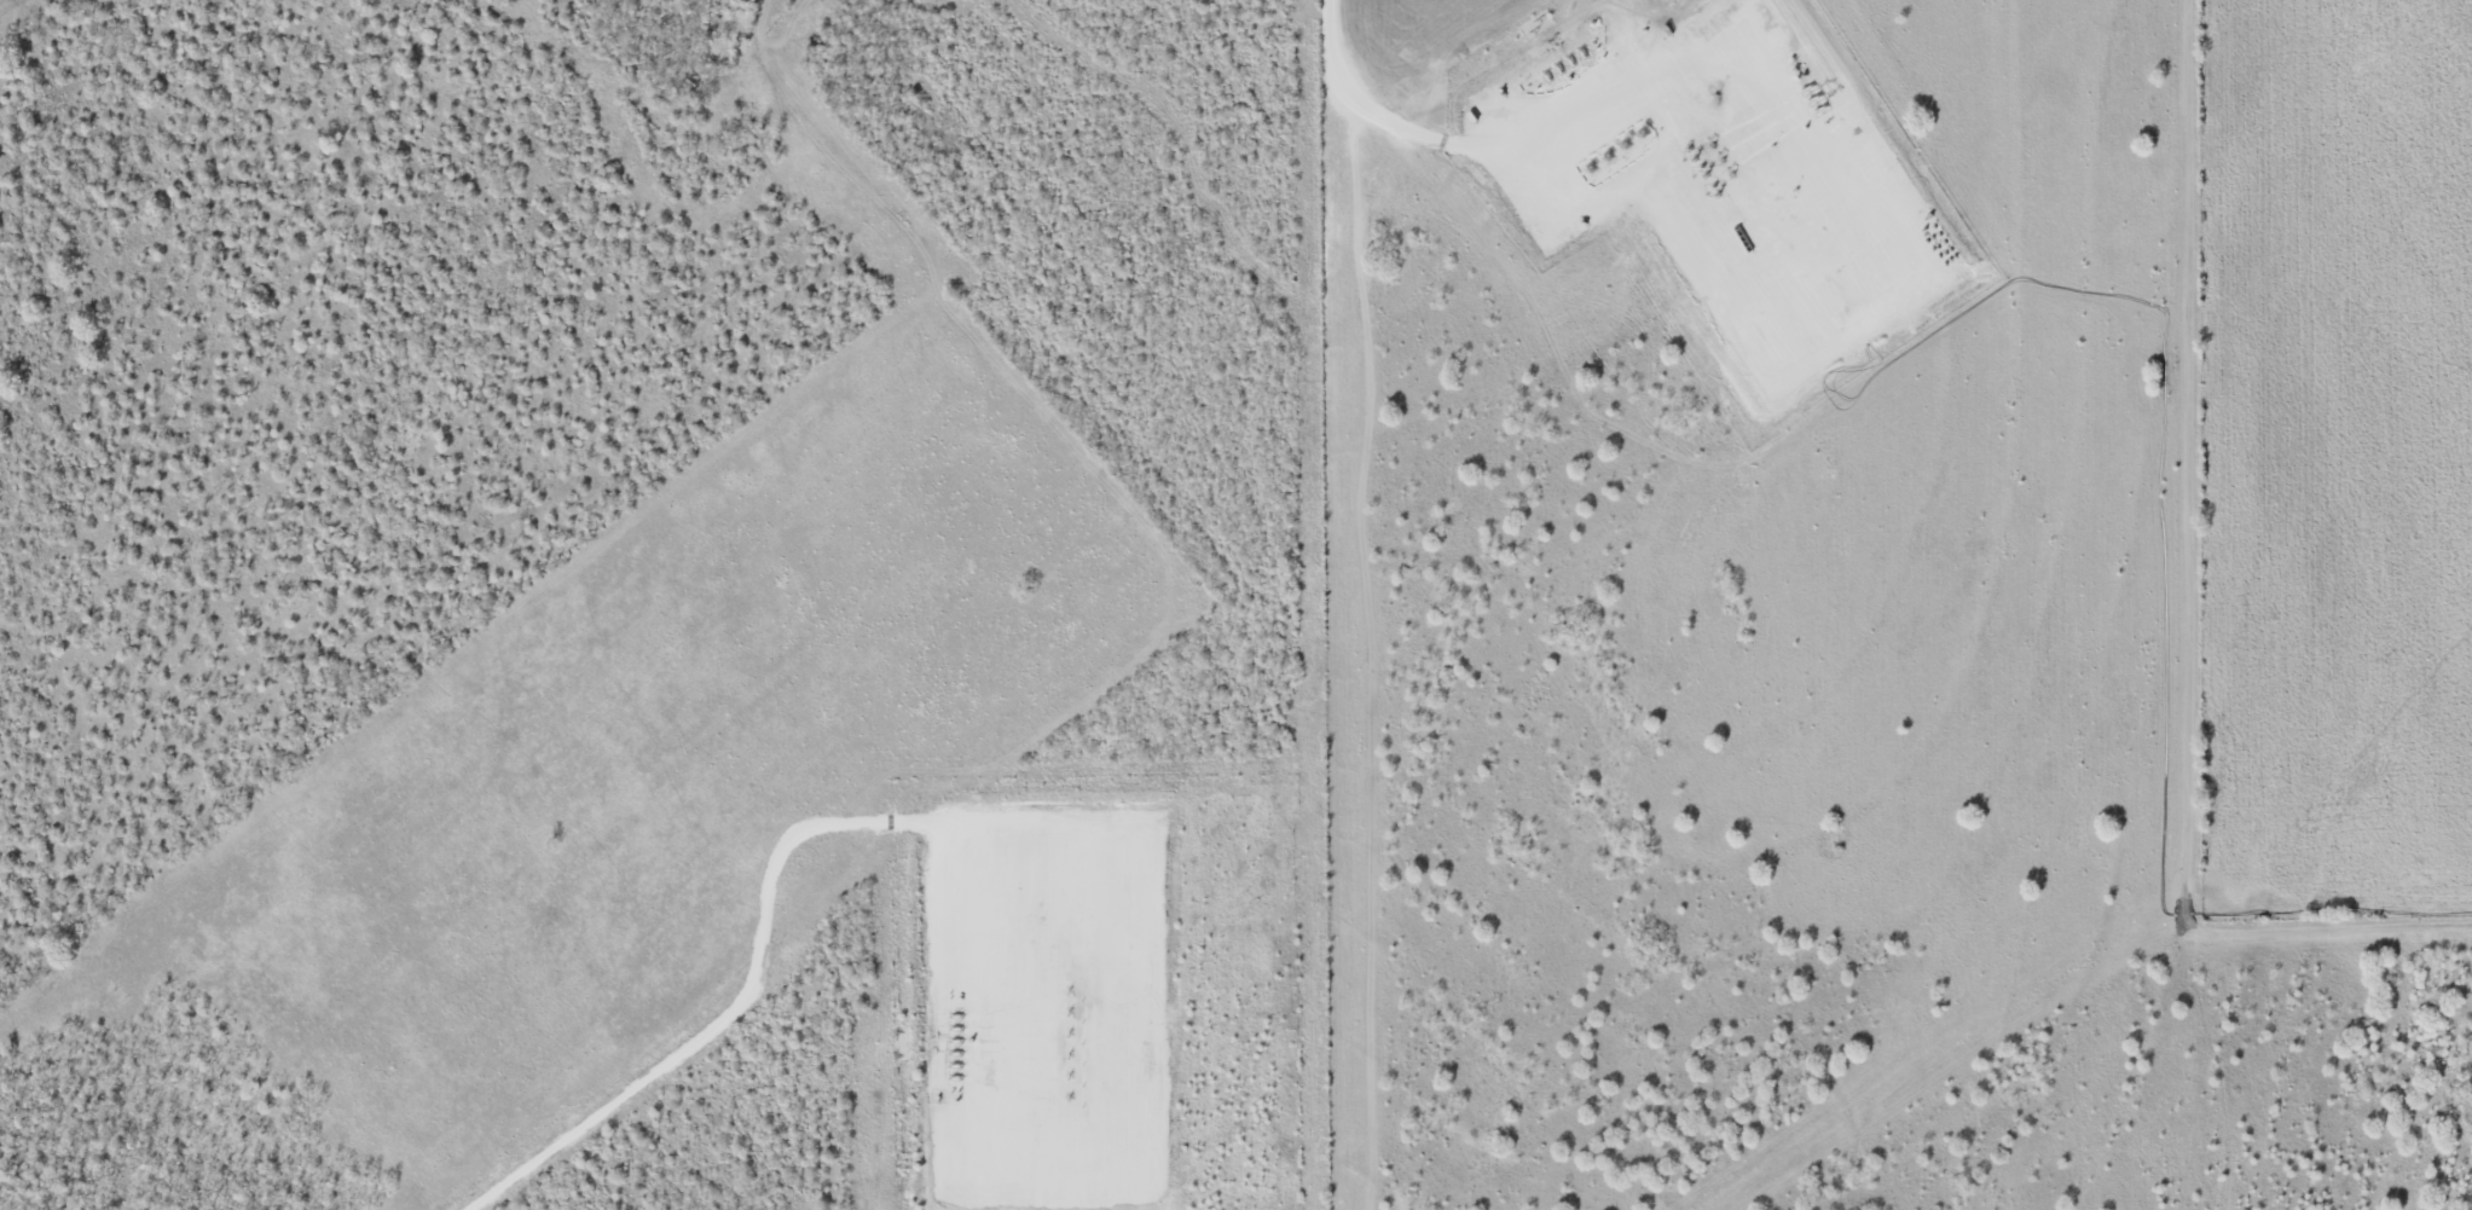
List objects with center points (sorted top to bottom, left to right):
road: (1784, 79)
road: (1365, 102)
road: (2188, 606)
road: (777, 931)

